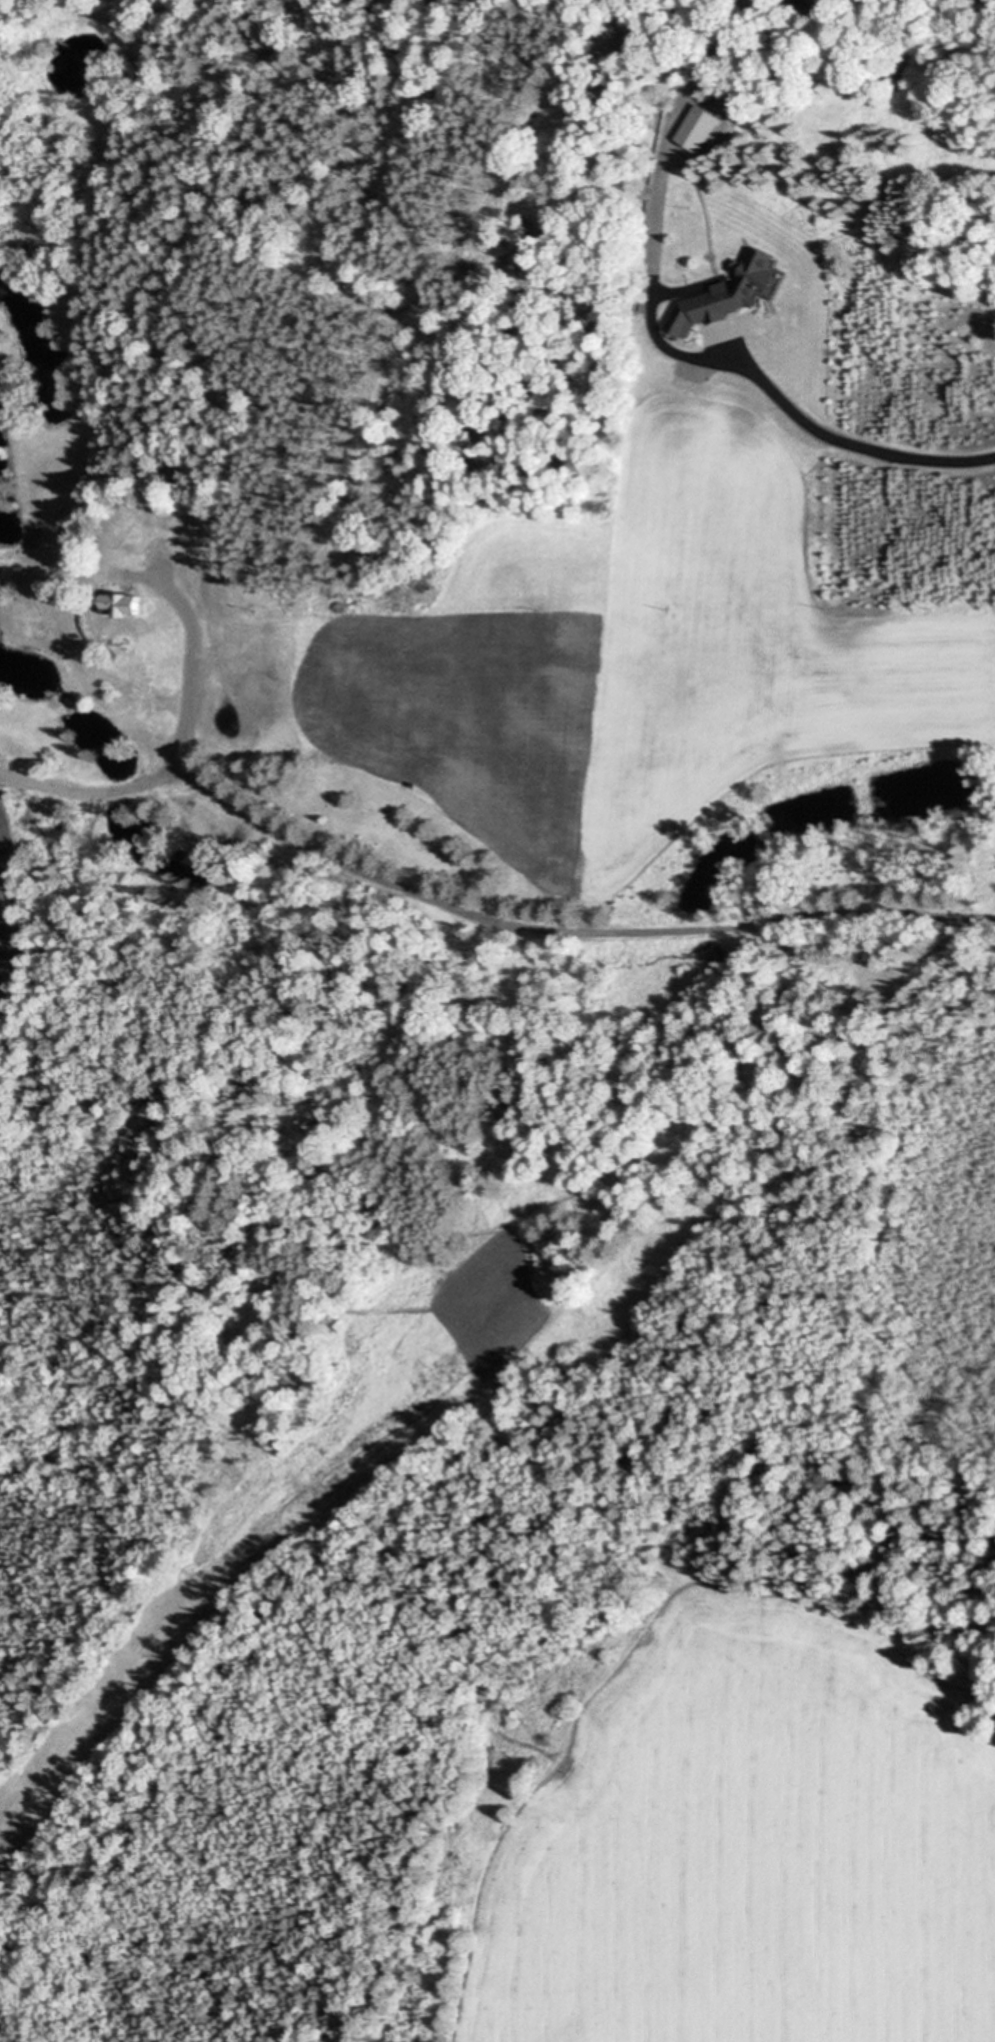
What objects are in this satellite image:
building: (696, 129)
building: (724, 295)
road: (748, 367)
building: (55, 545)
building: (119, 606)
building: (156, 606)
road: (85, 672)
road: (98, 788)
road: (579, 933)

